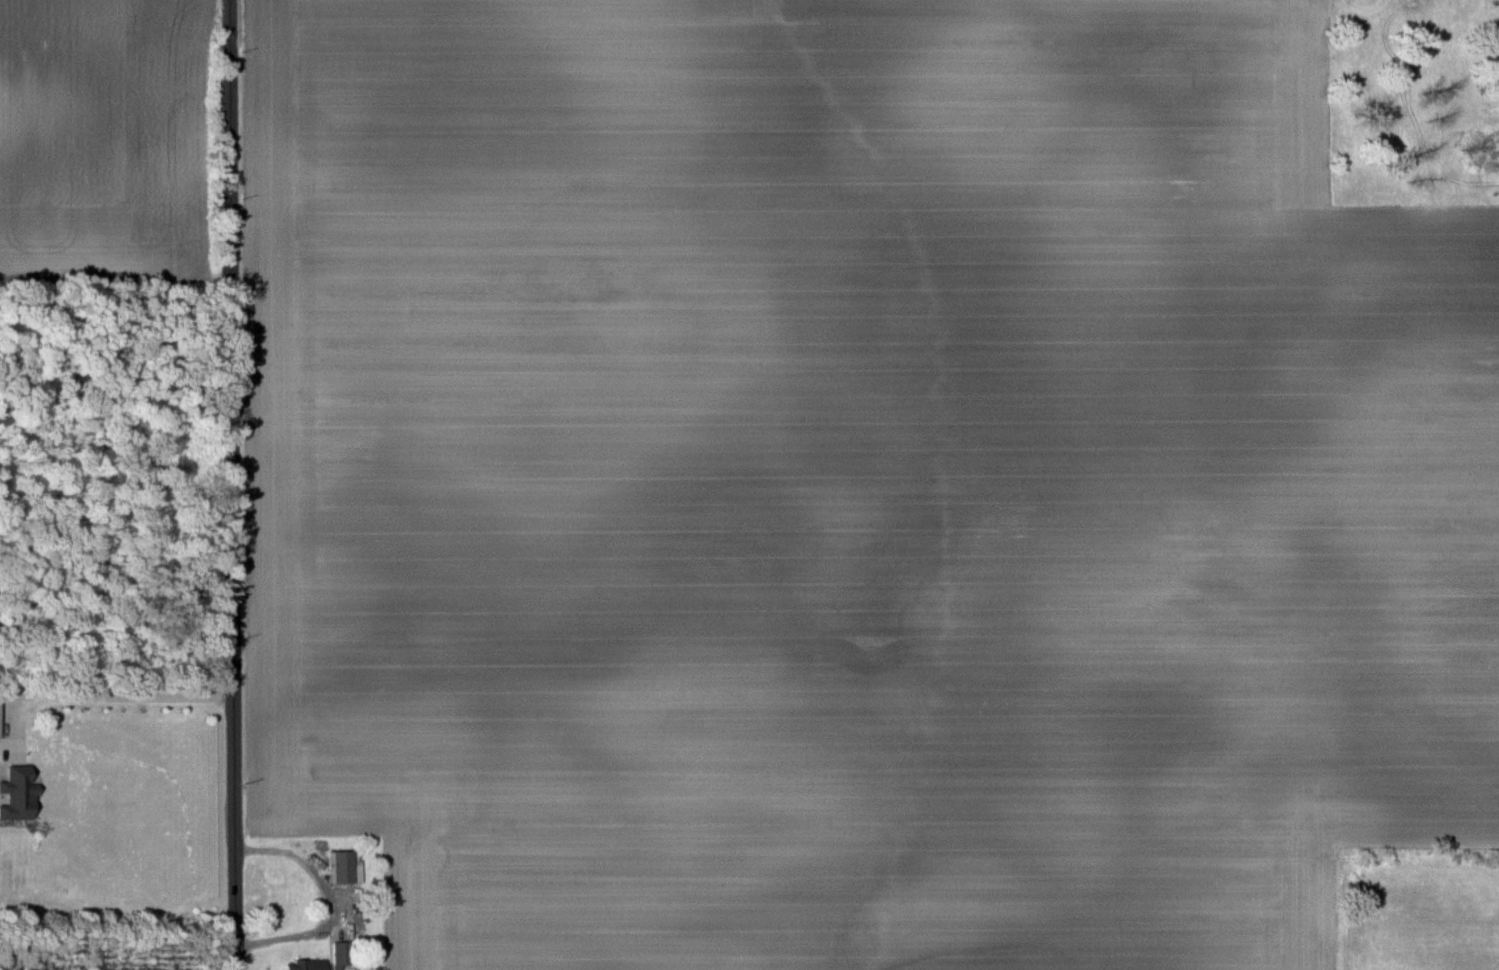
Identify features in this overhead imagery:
road: (233, 485)
road: (111, 695)
building: (0, 736)
building: (18, 792)
building: (345, 866)
road: (324, 897)
building: (305, 964)

